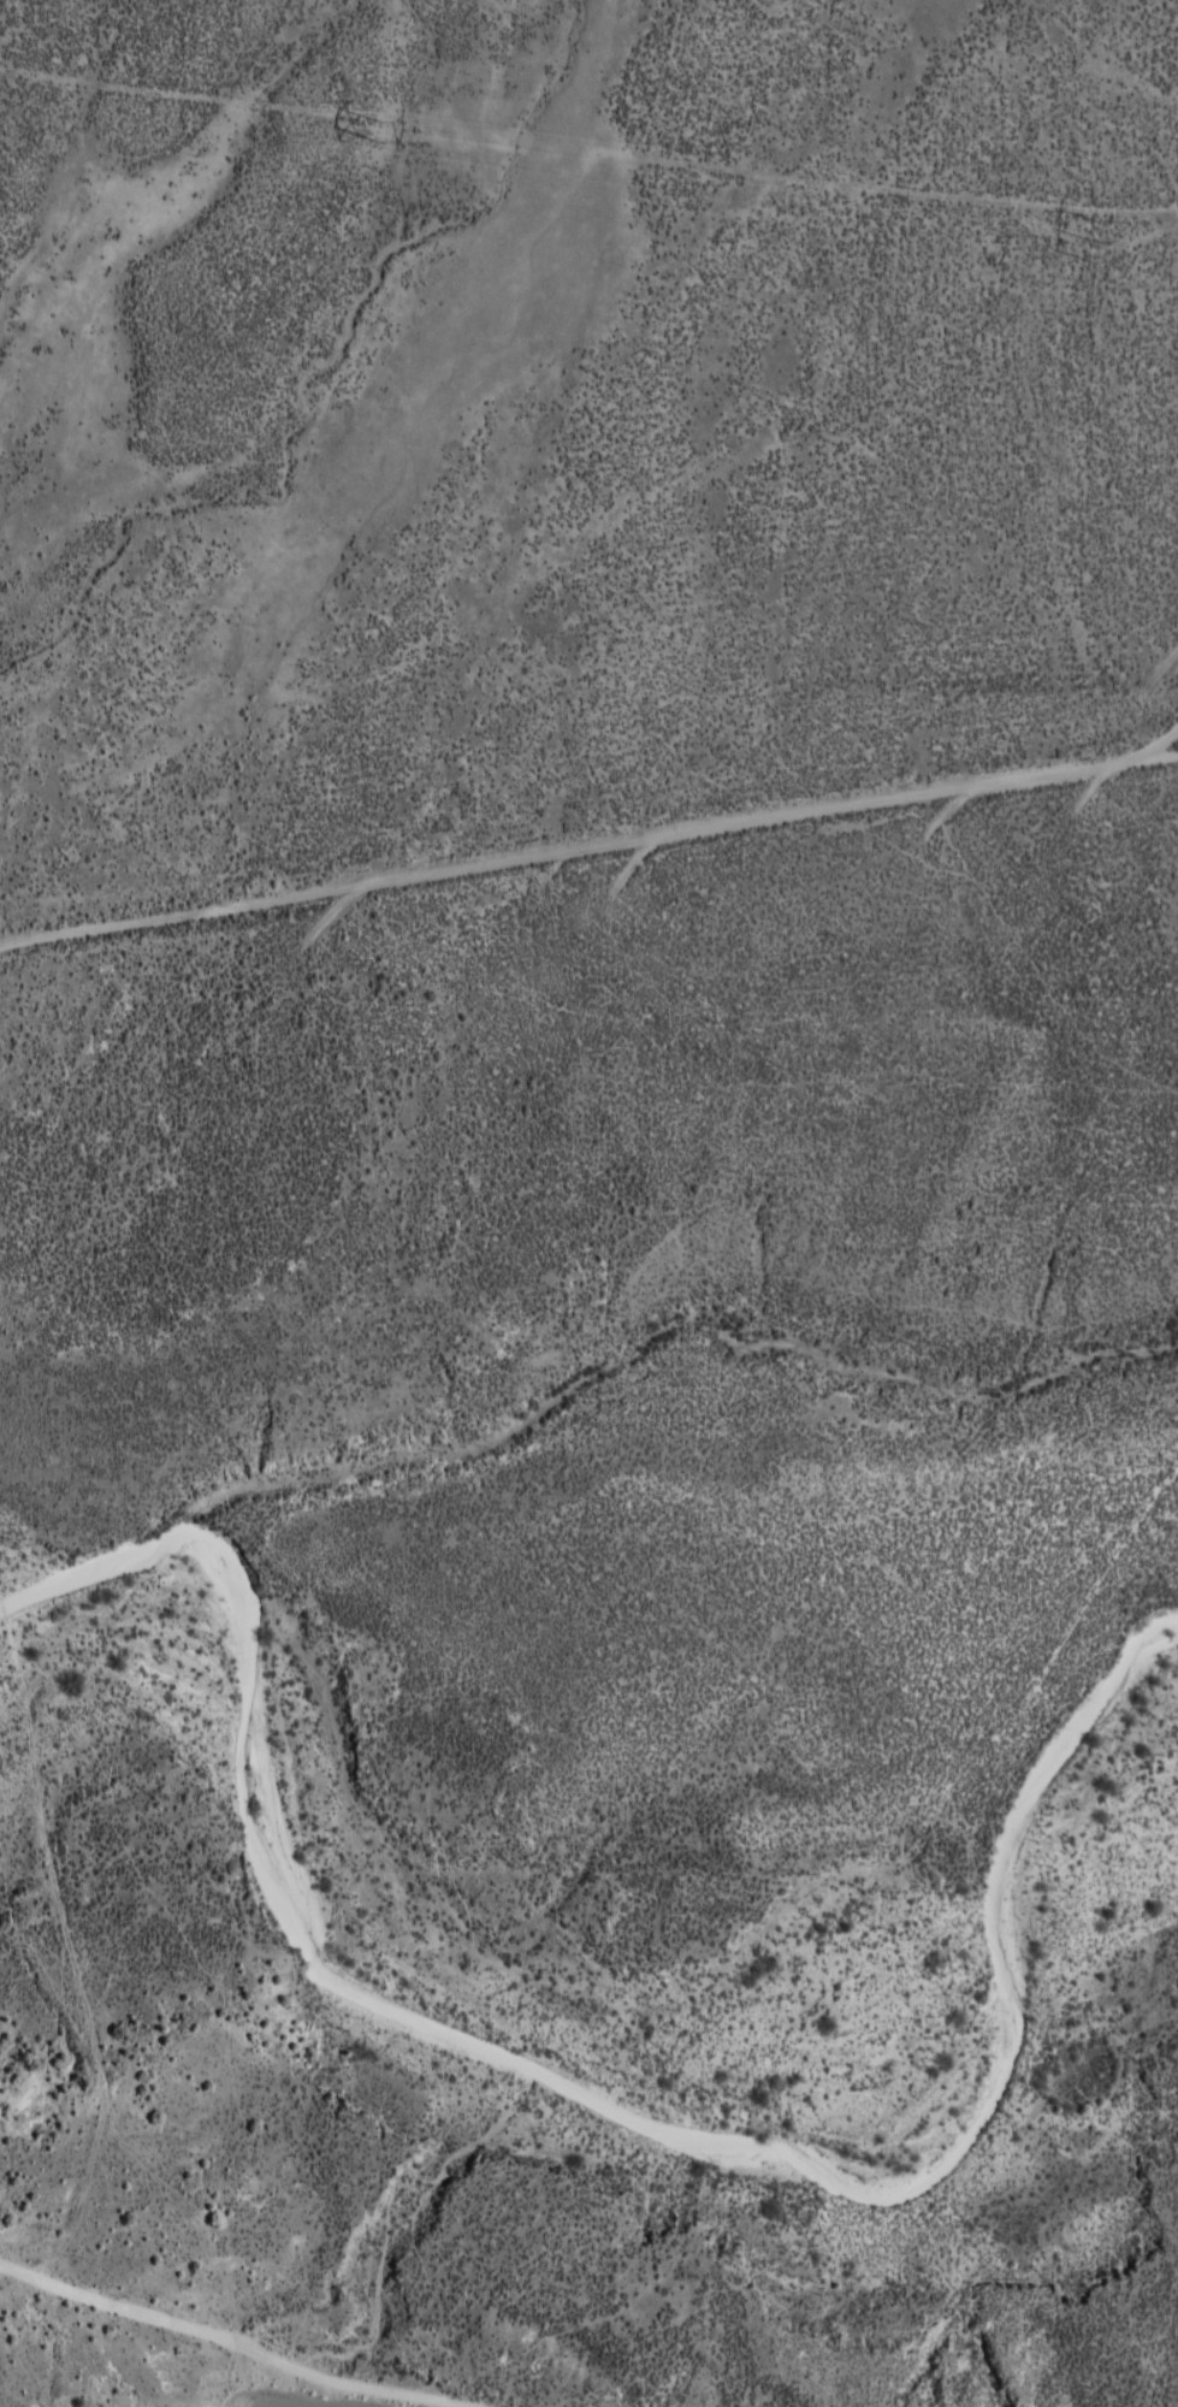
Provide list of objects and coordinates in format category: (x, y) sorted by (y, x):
power tower: (386, 129)
power tower: (1100, 243)
road: (635, 871)
river: (535, 2045)
road: (279, 2210)

